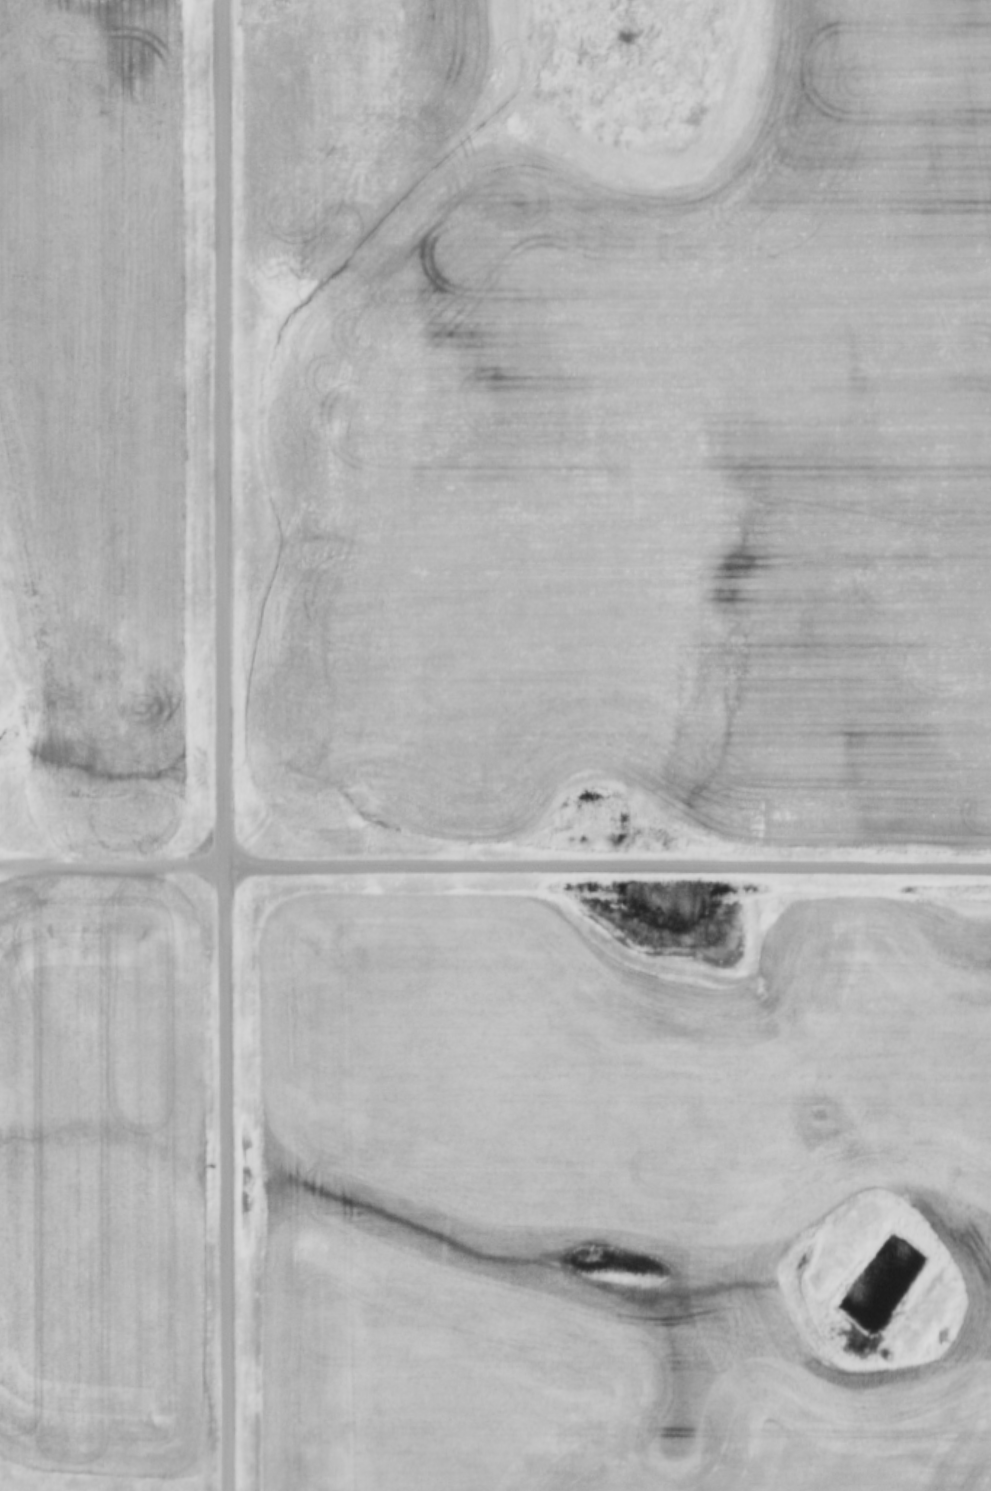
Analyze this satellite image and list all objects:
road: (222, 745)
road: (111, 872)
road: (607, 873)

